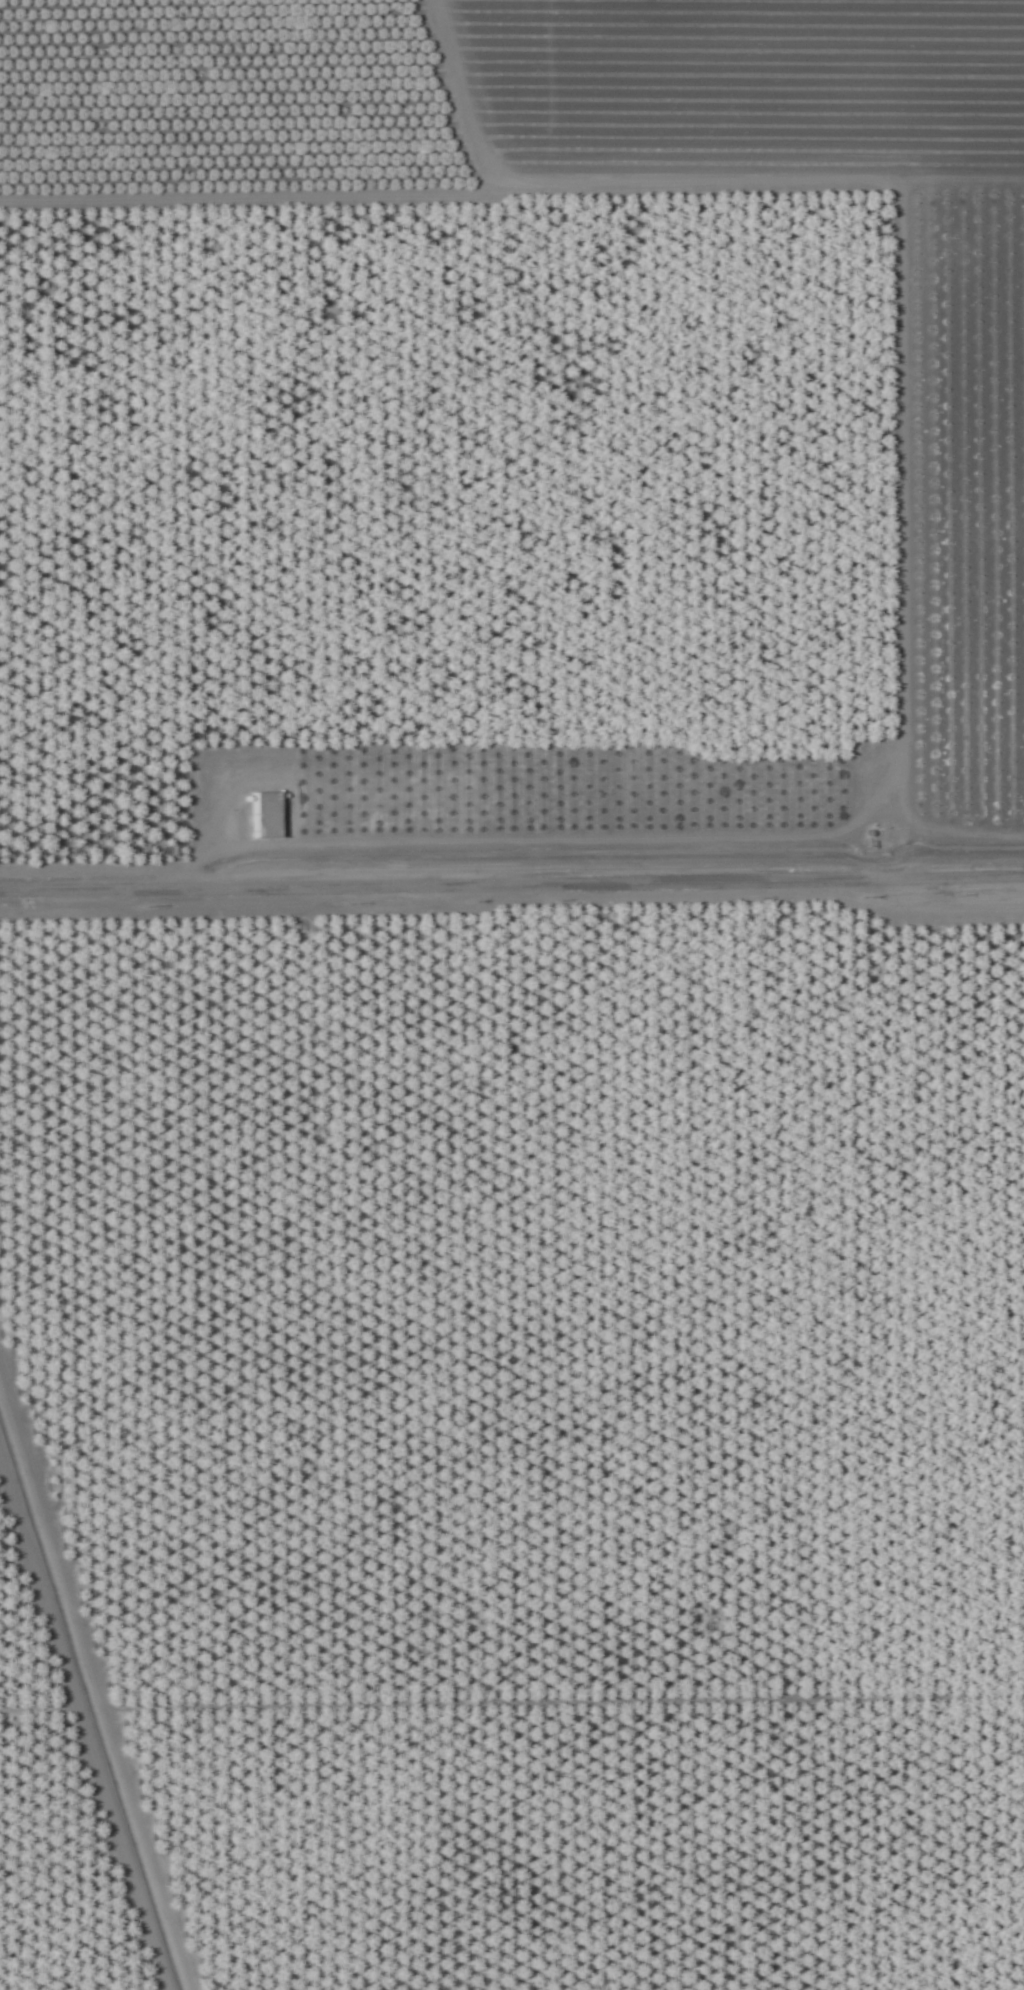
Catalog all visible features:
building: (268, 816)
building: (442, 817)
building: (380, 819)
road: (512, 876)
crop: (512, 995)
building: (448, 1179)

